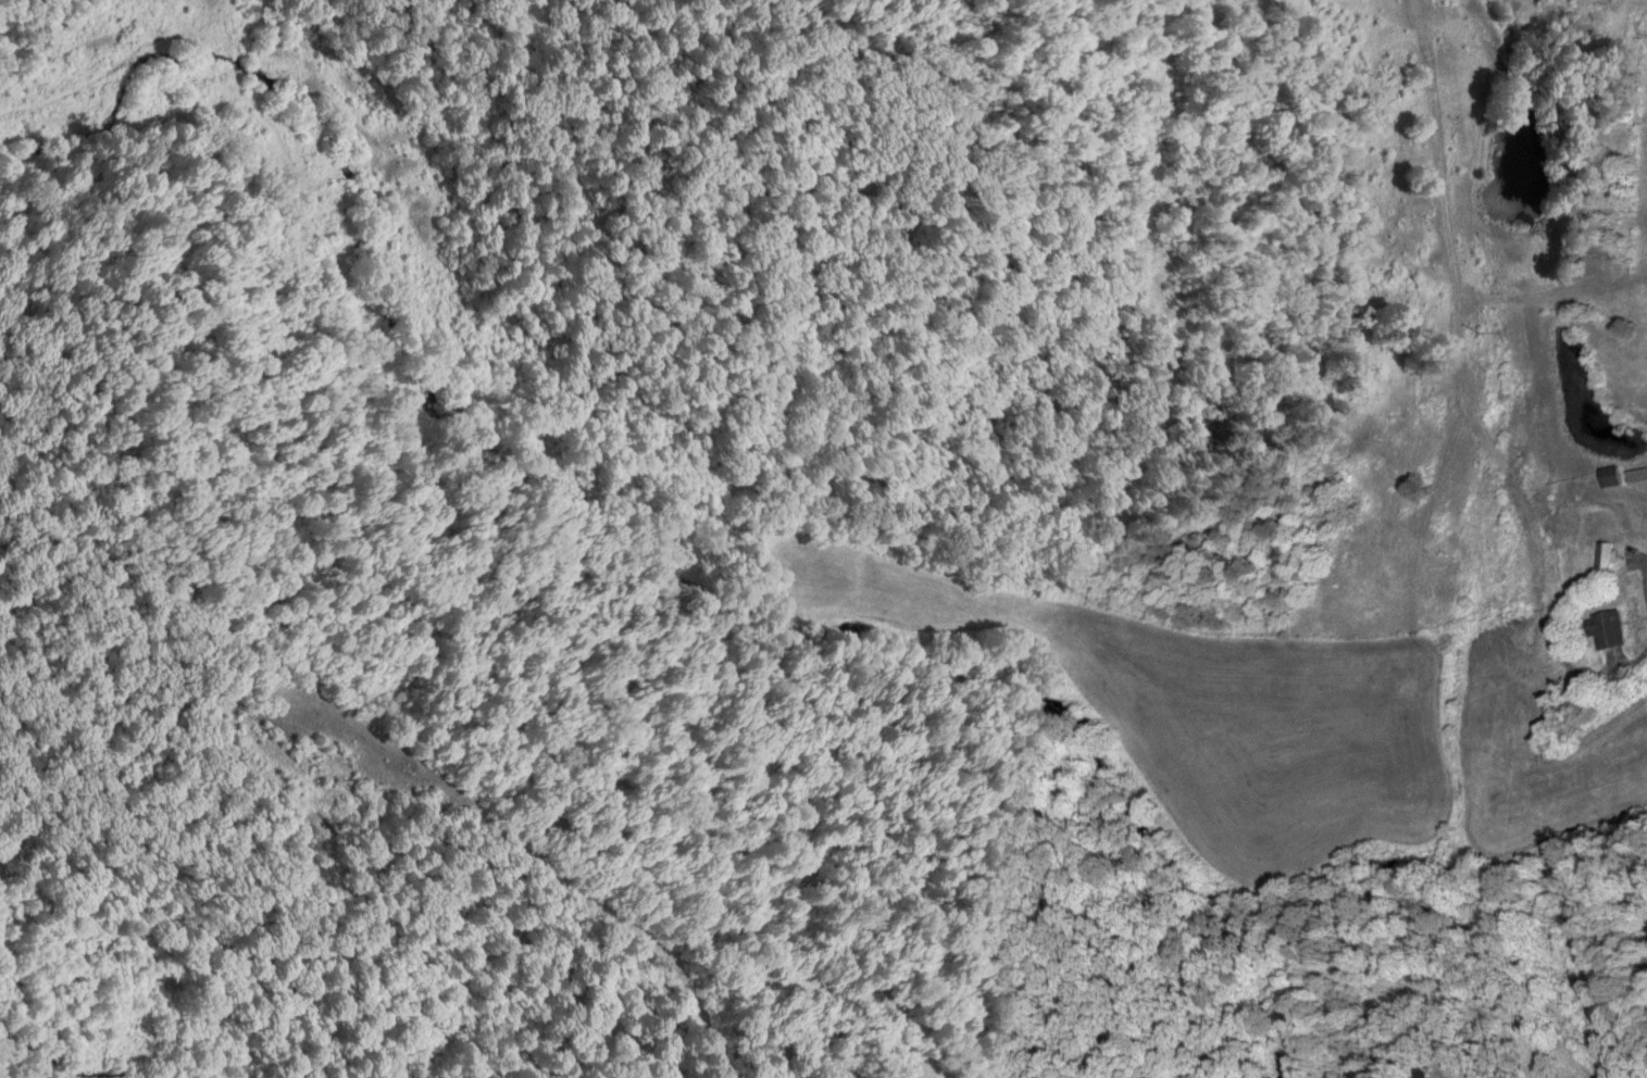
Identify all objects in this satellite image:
building: (1617, 477)
building: (1639, 477)
building: (1611, 554)
building: (1613, 629)
building: (1428, 1074)

